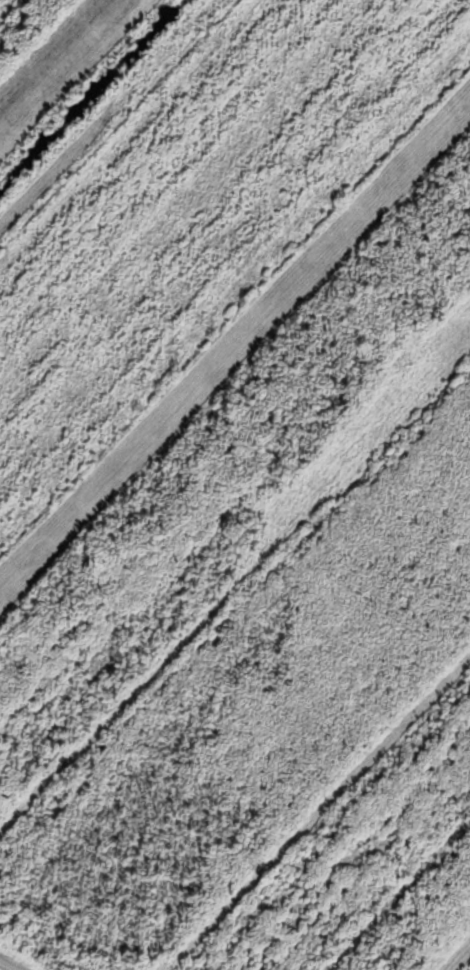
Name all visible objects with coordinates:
road: (22, 958)

